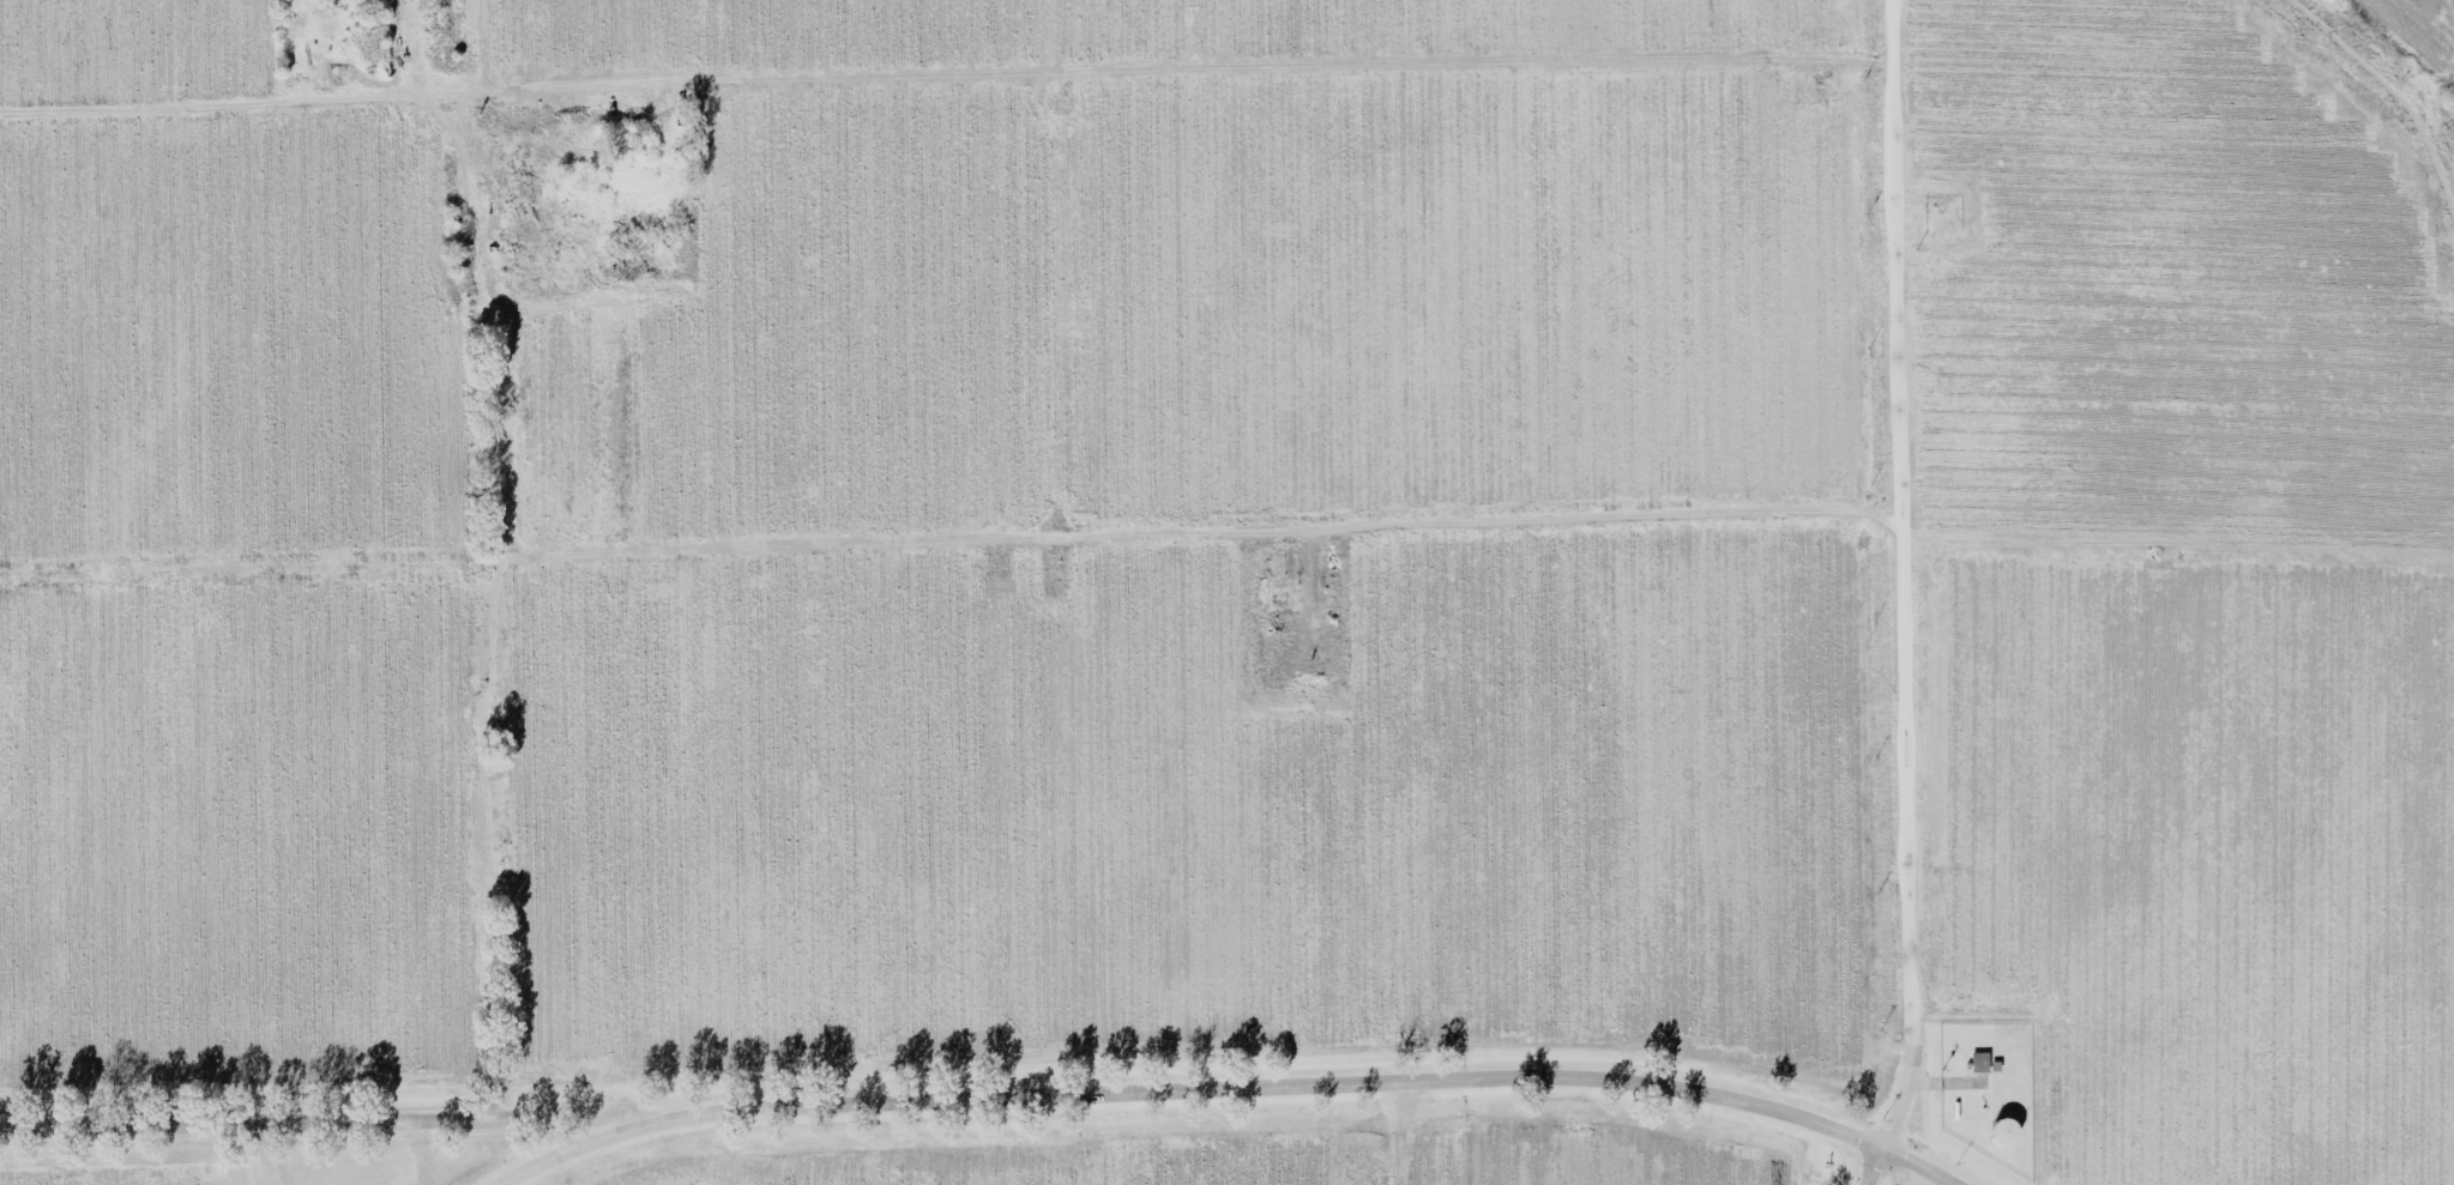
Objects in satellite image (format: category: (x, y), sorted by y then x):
crop: (2418, 30)
road: (470, 48)
road: (2358, 54)
road: (946, 87)
road: (1900, 578)
crop: (2183, 587)
crop: (927, 591)
road: (494, 840)
building: (1979, 1059)
building: (1994, 1064)
road: (1946, 1078)
road: (1222, 1087)
road: (248, 1121)
building: (2003, 1129)
road: (259, 1153)
road: (1874, 1167)

